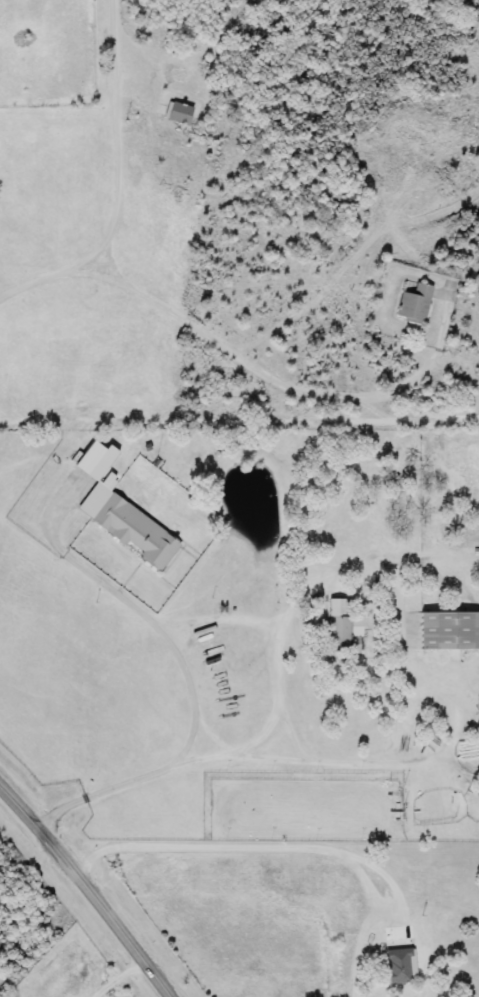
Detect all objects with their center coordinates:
building: (179, 115)
road: (121, 182)
building: (414, 303)
road: (283, 375)
building: (122, 513)
road: (146, 611)
building: (341, 625)
building: (450, 631)
road: (284, 758)
road: (283, 870)
road: (89, 888)
road: (113, 975)

